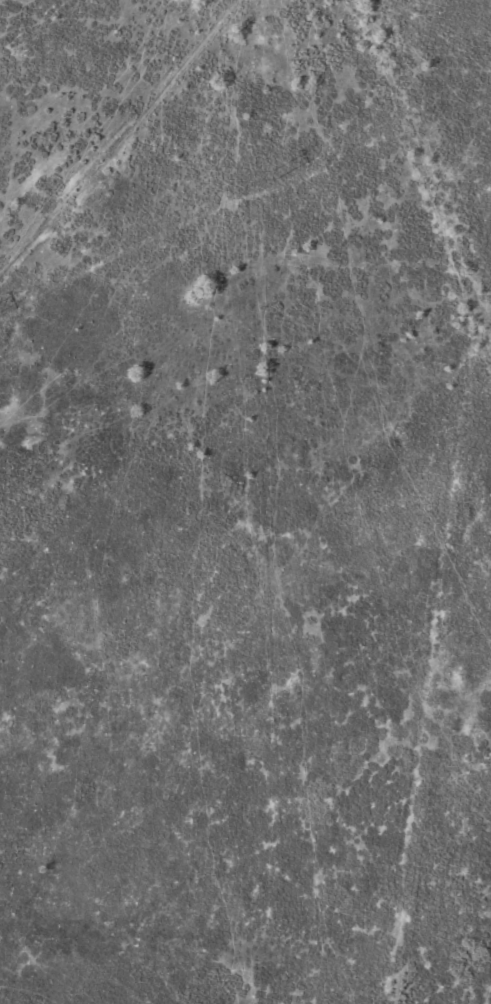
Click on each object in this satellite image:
power tower: (277, 171)

